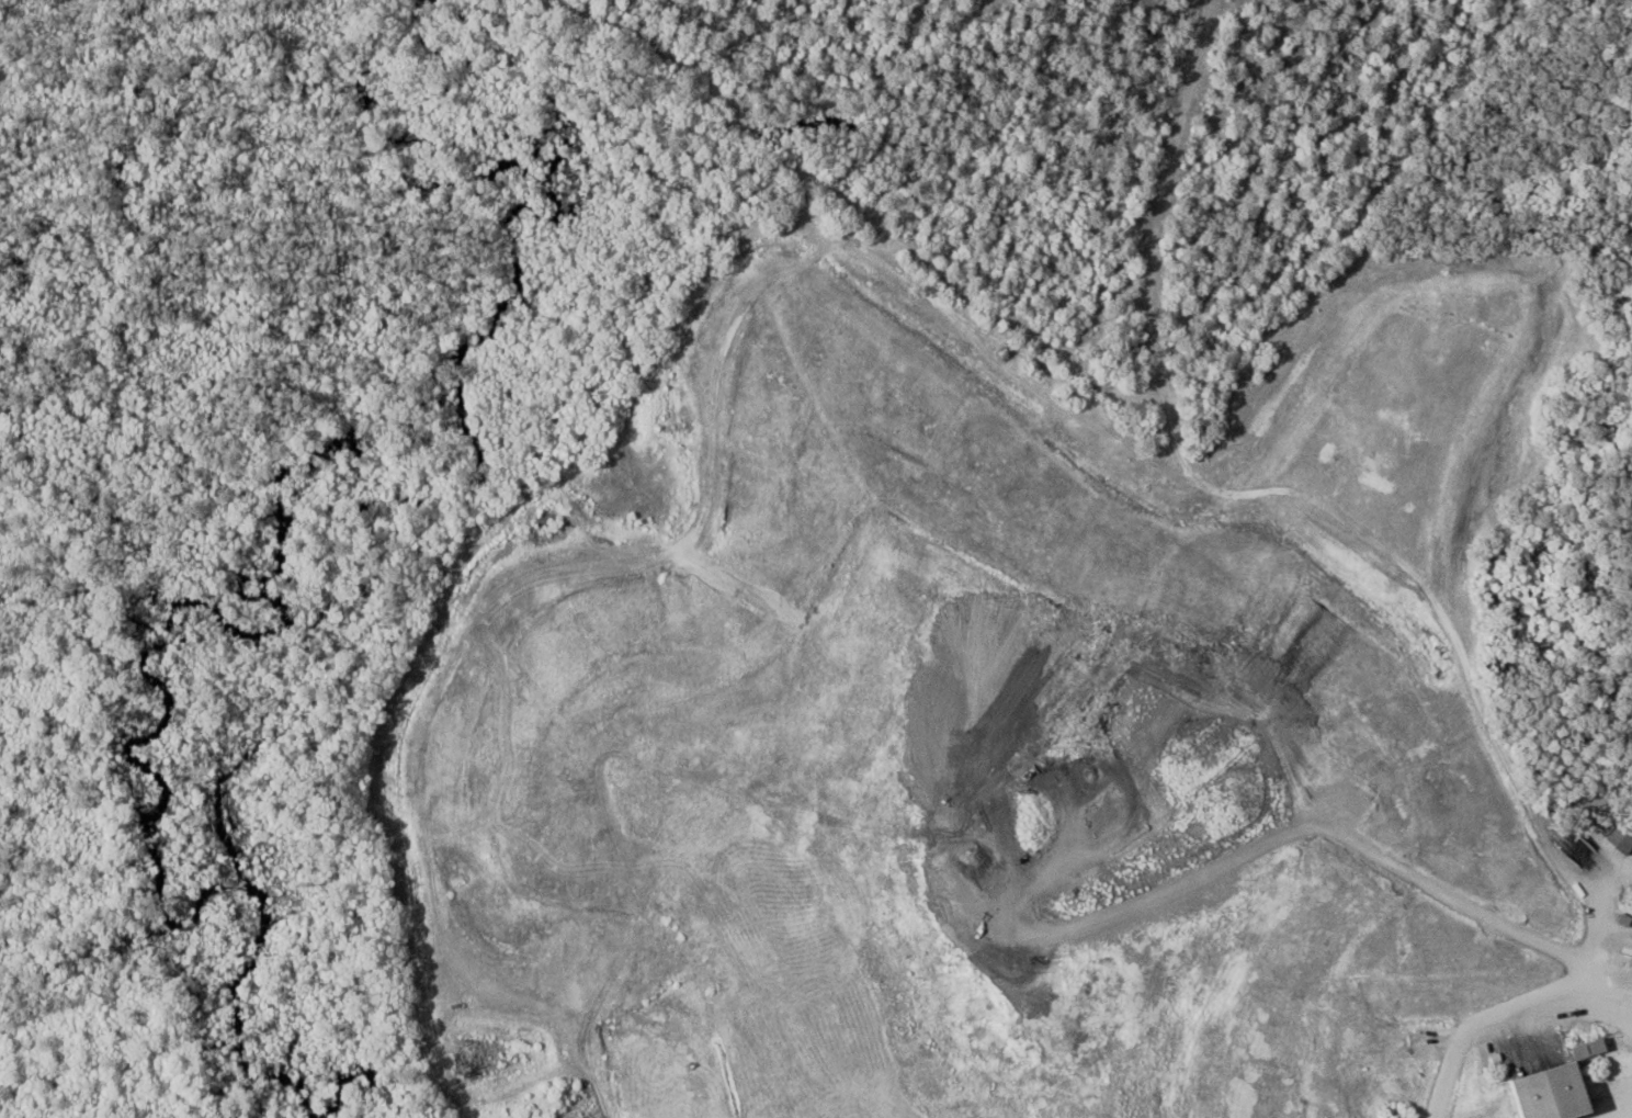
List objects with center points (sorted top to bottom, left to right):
road: (701, 14)
road: (647, 25)
road: (1213, 218)
road: (1234, 800)
building: (1623, 843)
building: (1546, 1089)

